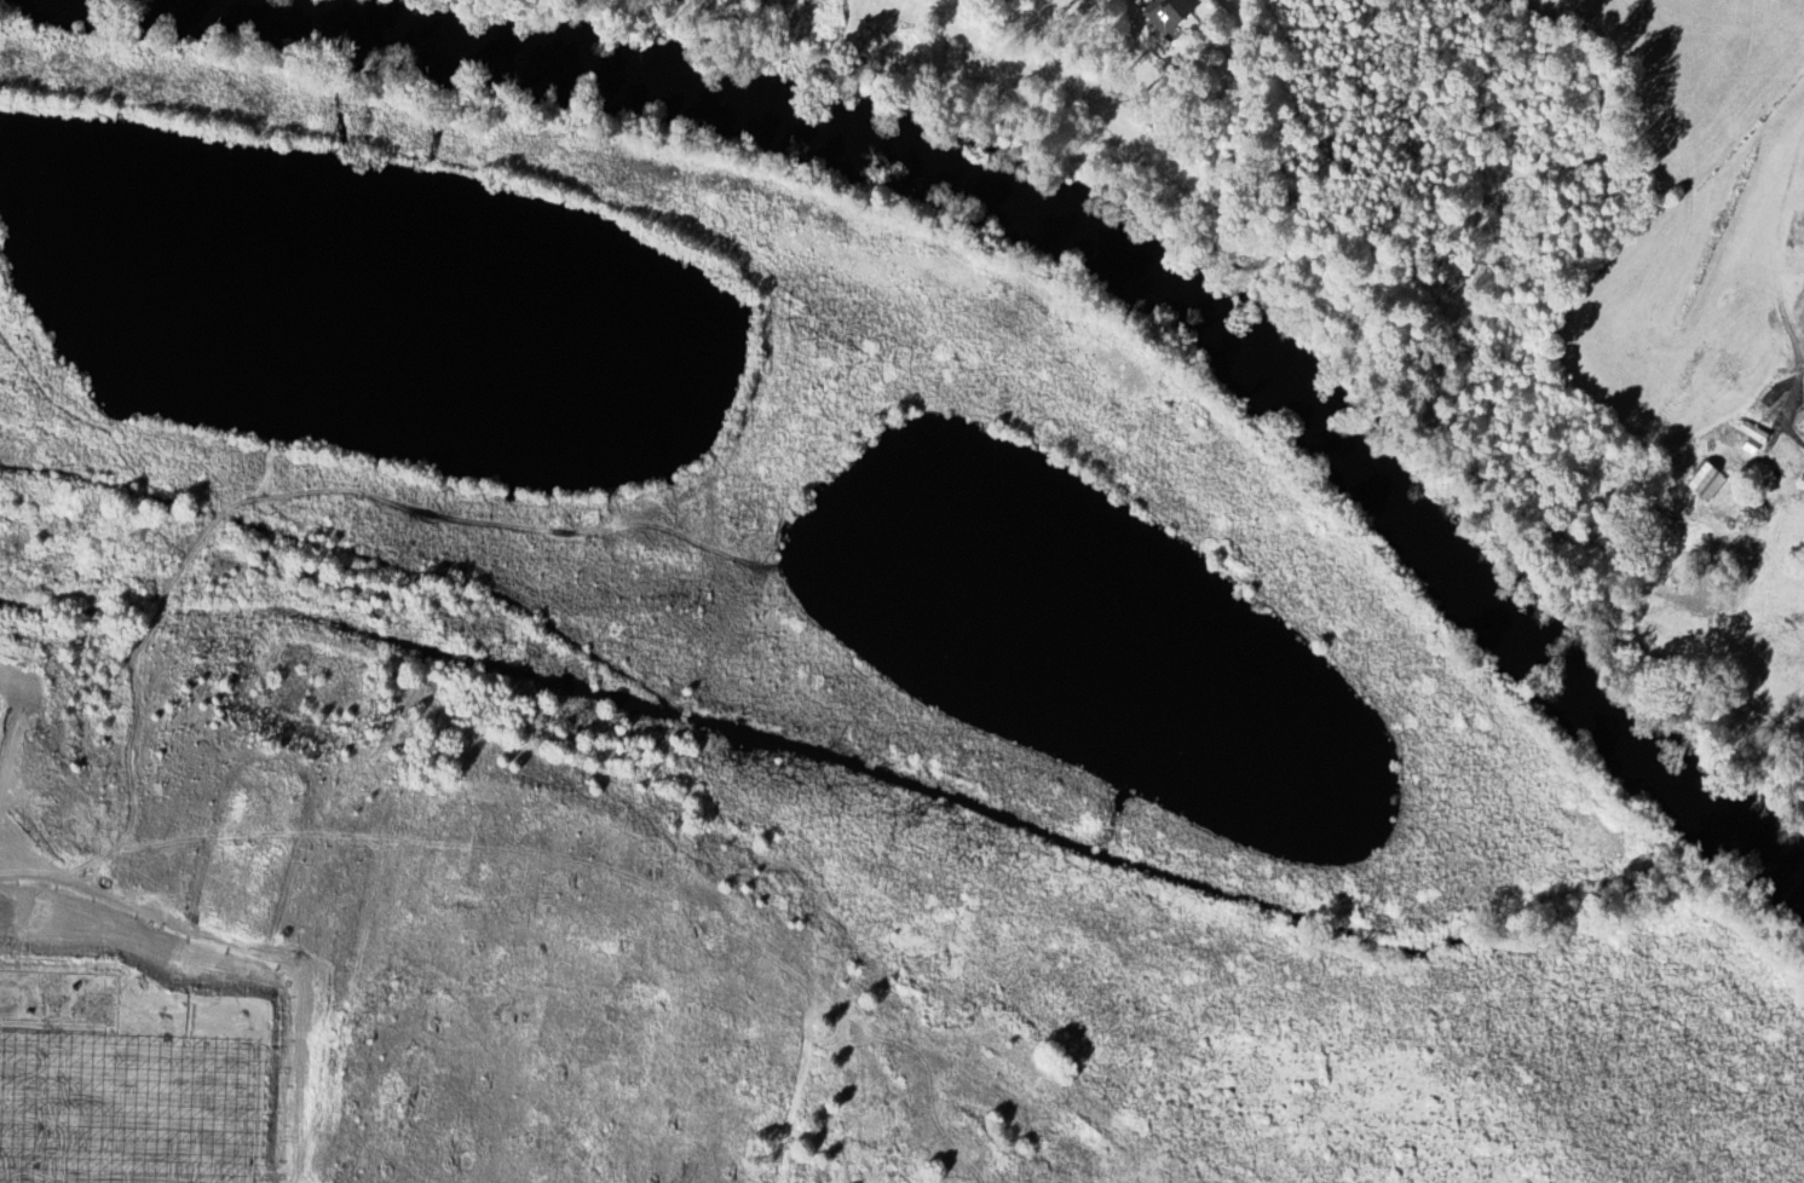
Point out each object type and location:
building: (1168, 15)
river: (1128, 254)
building: (1799, 423)
road: (1796, 434)
building: (1701, 483)

